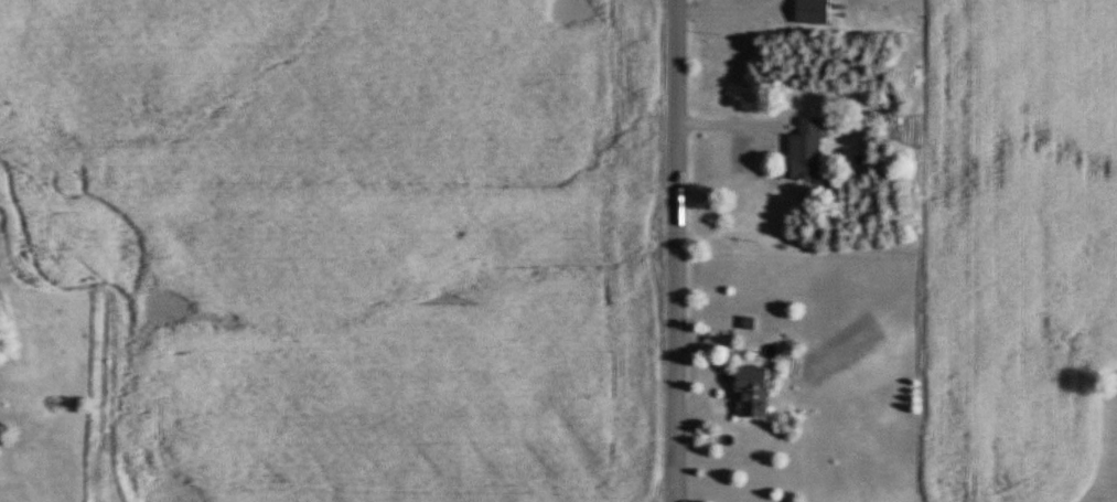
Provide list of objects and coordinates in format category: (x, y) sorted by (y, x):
road: (721, 0)
building: (810, 12)
road: (730, 124)
building: (804, 152)
road: (672, 250)
building: (750, 393)

